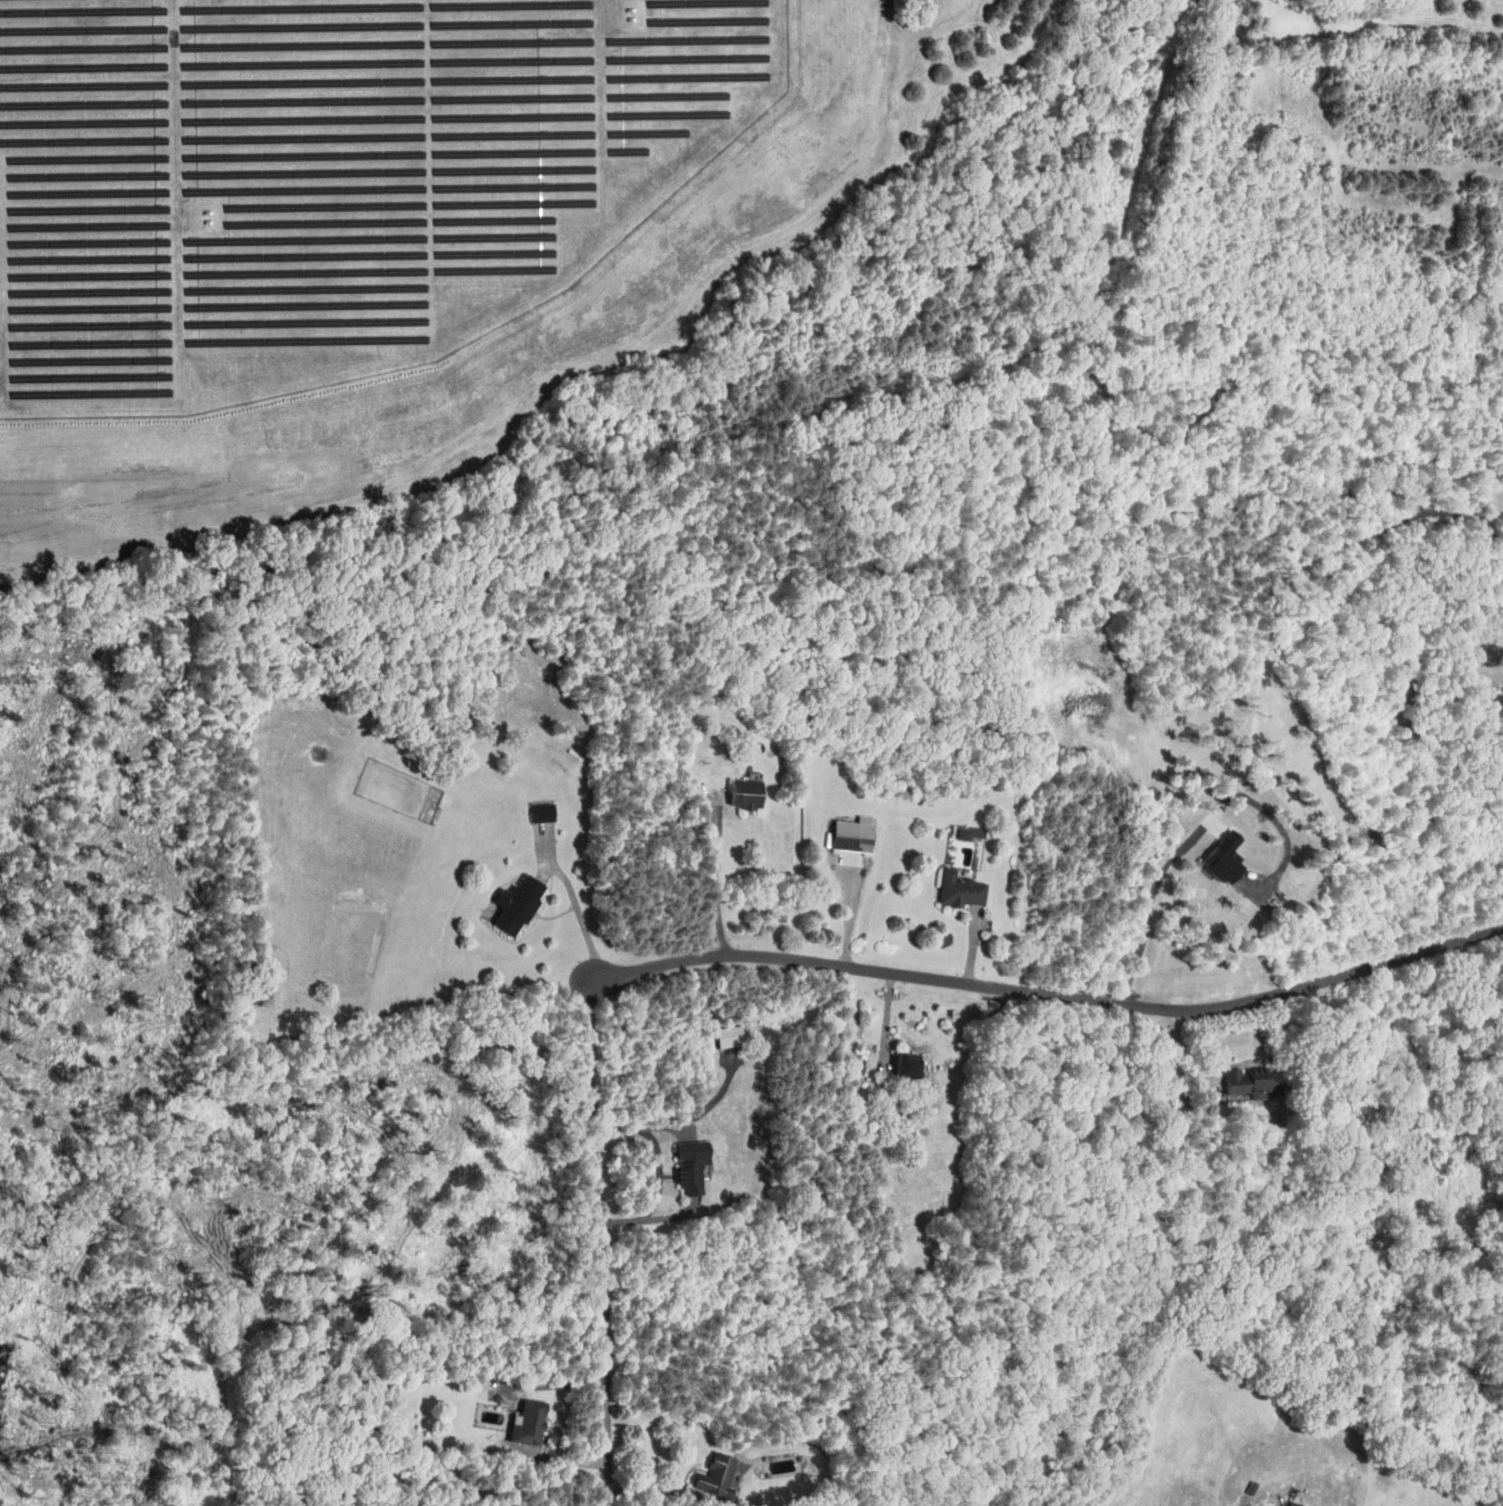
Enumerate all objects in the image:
building: (750, 793)
building: (546, 812)
building: (967, 833)
building: (856, 834)
building: (1217, 857)
road: (714, 878)
building: (964, 889)
building: (522, 904)
road: (852, 908)
road: (1150, 910)
road: (574, 927)
road: (1056, 992)
road: (1348, 1009)
road: (886, 1020)
road: (1181, 1049)
building: (912, 1066)
building: (1241, 1084)
road: (662, 1150)
road: (656, 1156)
building: (695, 1169)
road: (606, 1240)
building: (533, 1422)
road: (576, 1434)
road: (640, 1469)
building: (719, 1470)
road: (661, 1492)
building: (1289, 1504)
building: (1275, 1505)

